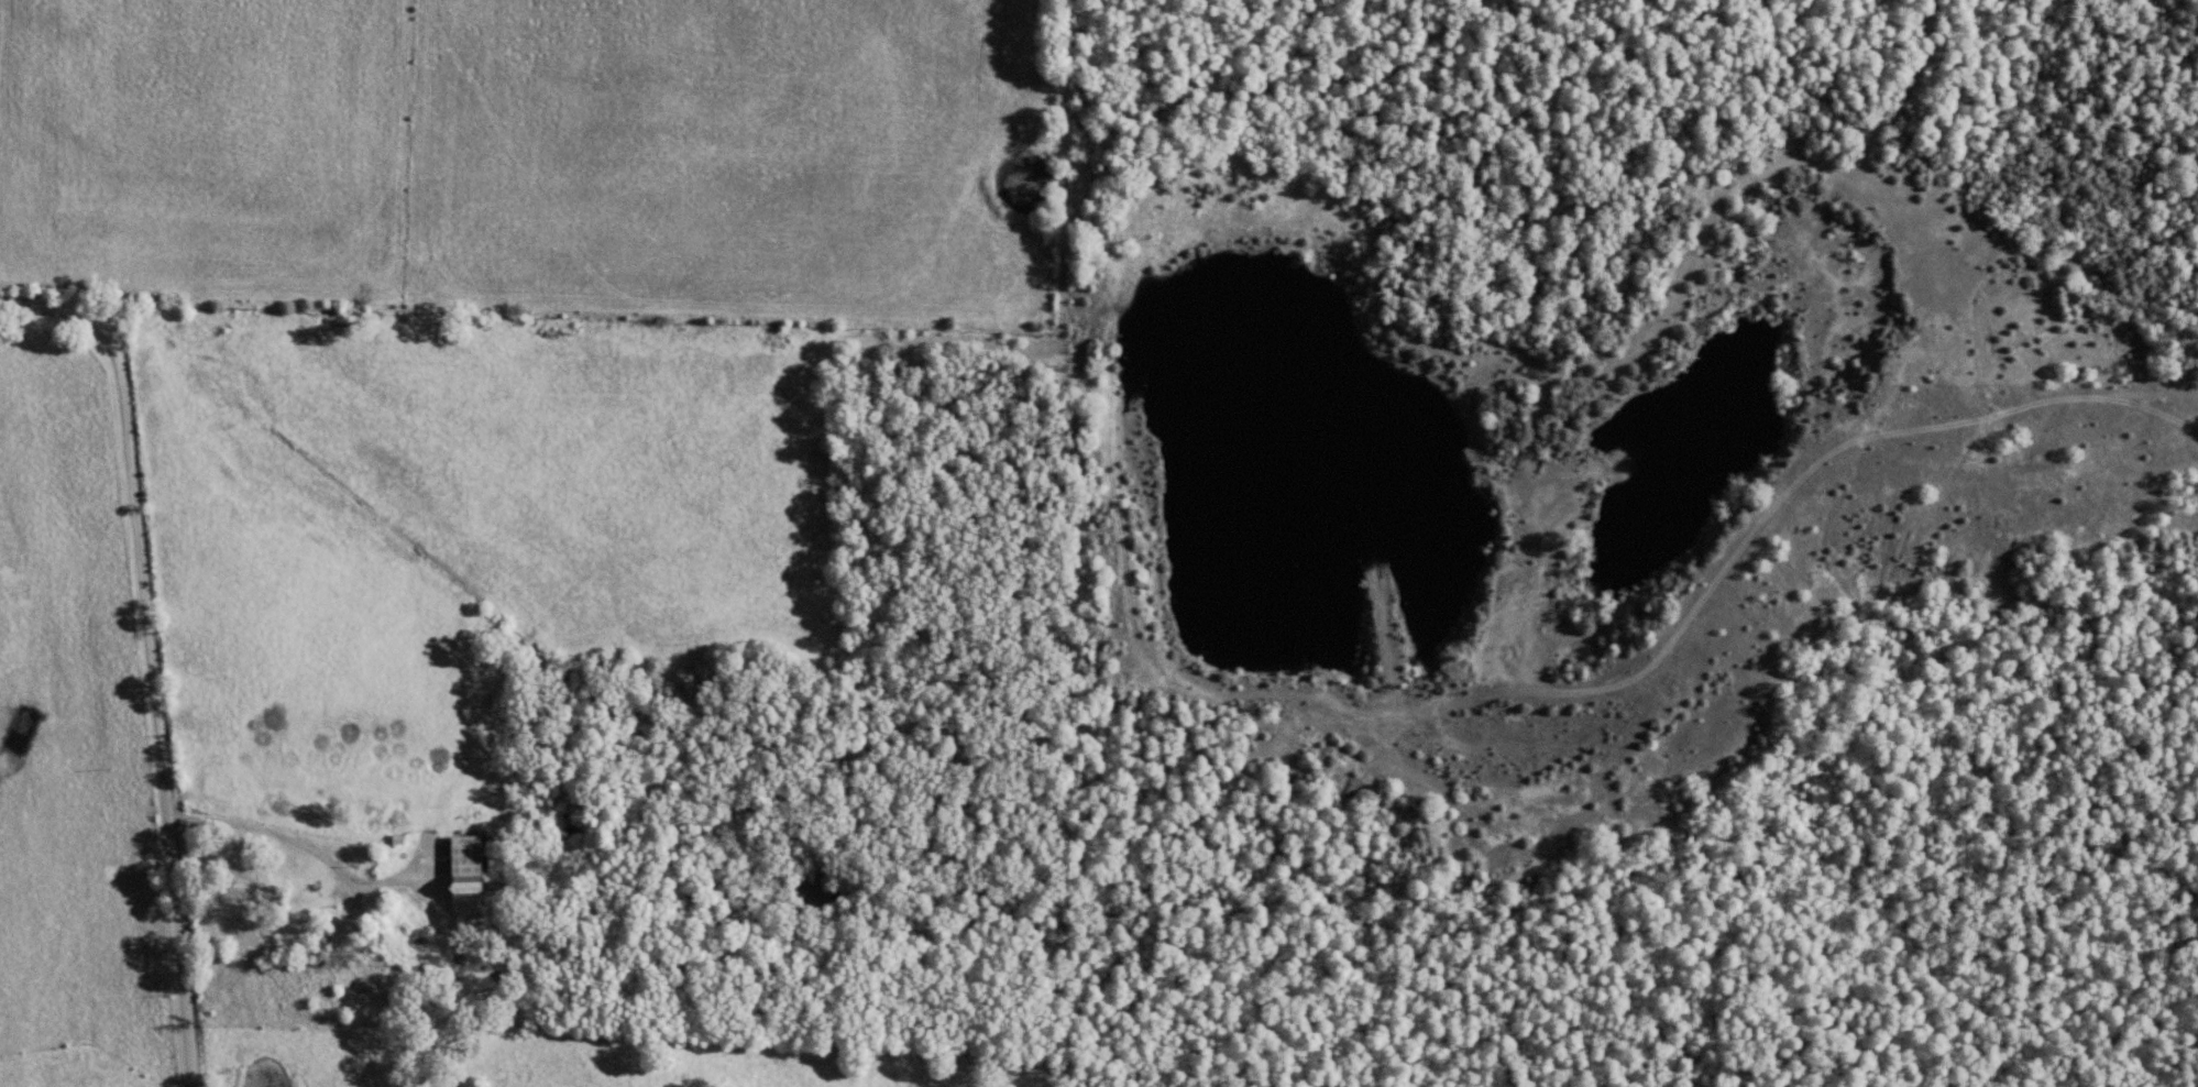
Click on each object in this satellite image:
road: (1835, 440)
road: (150, 650)
road: (86, 848)
building: (466, 879)

